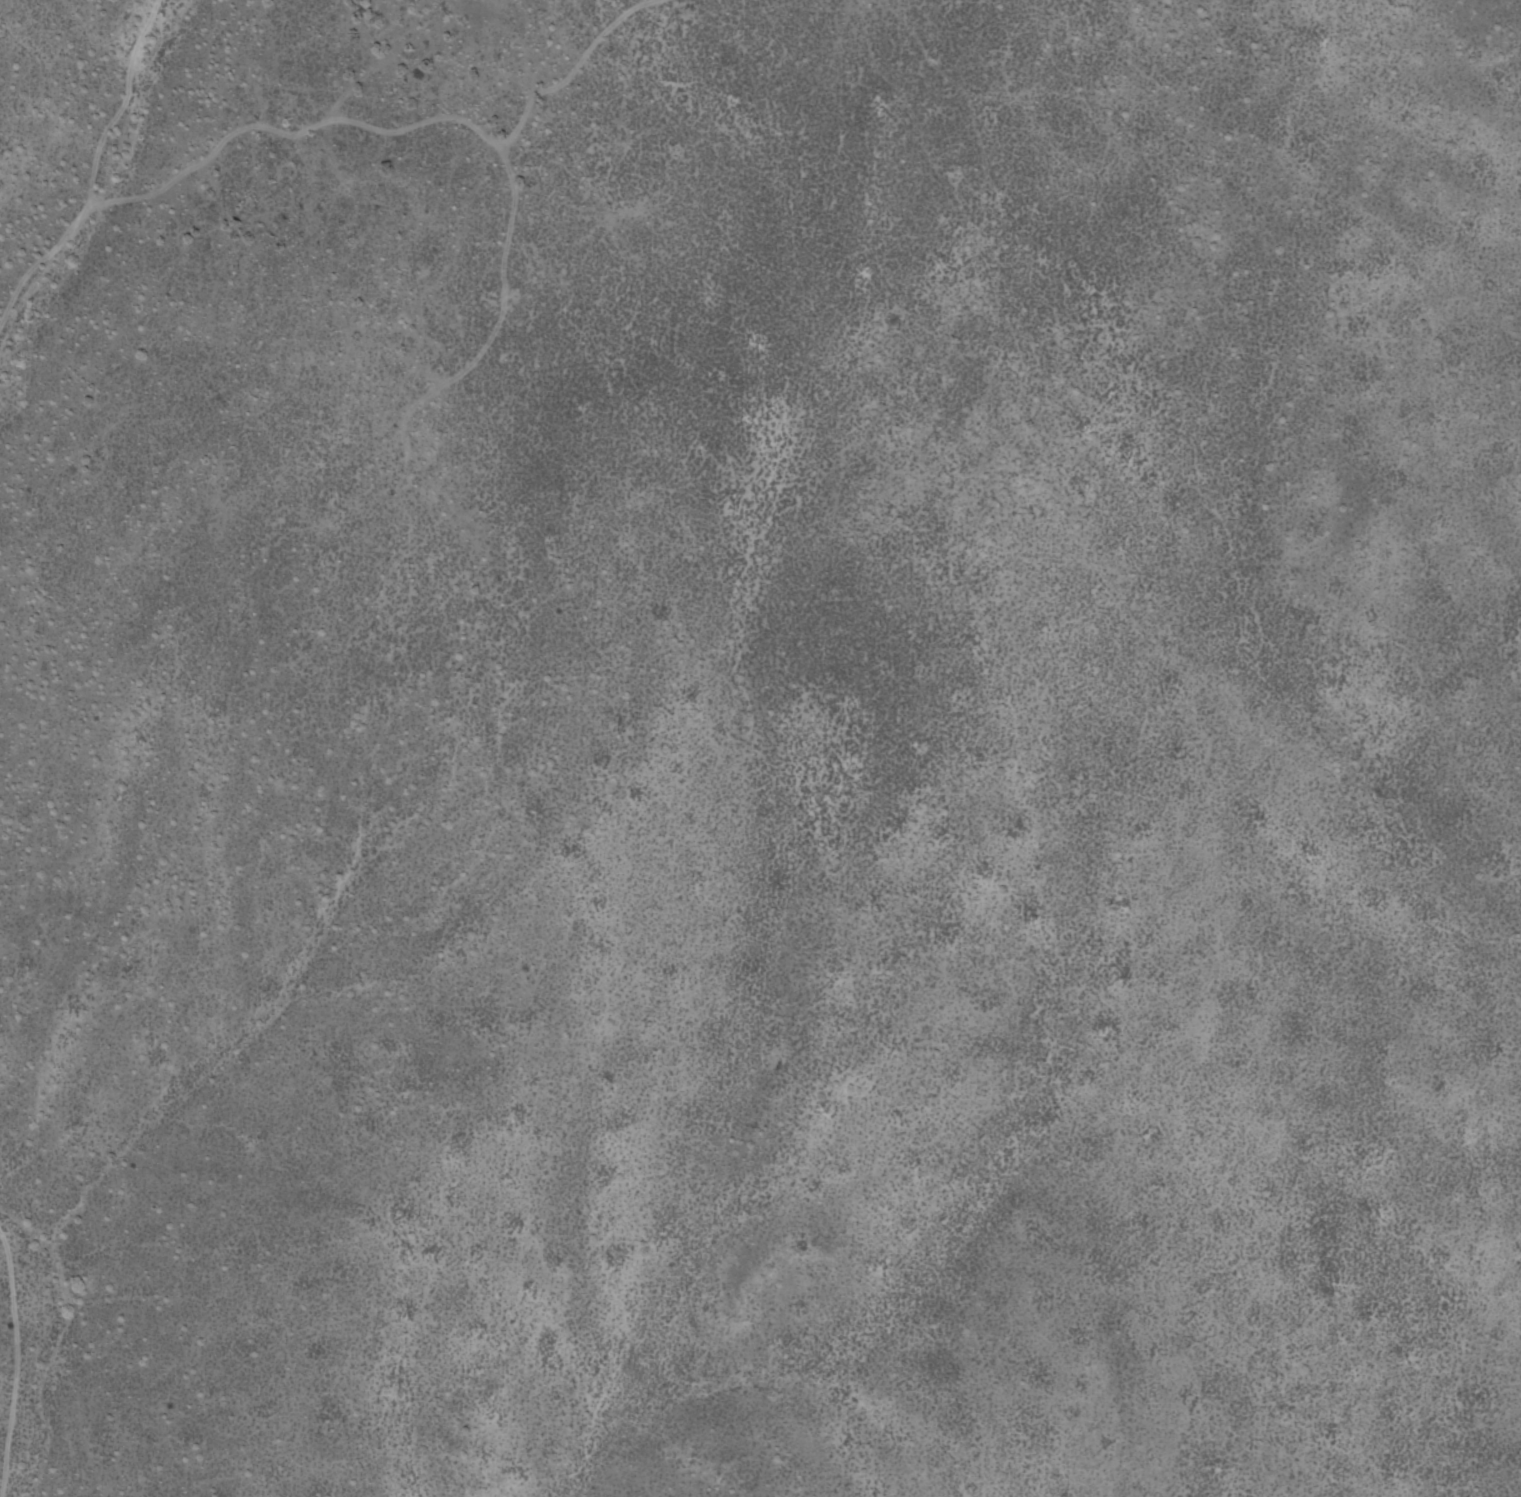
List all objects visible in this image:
road: (87, 149)
road: (11, 1327)

